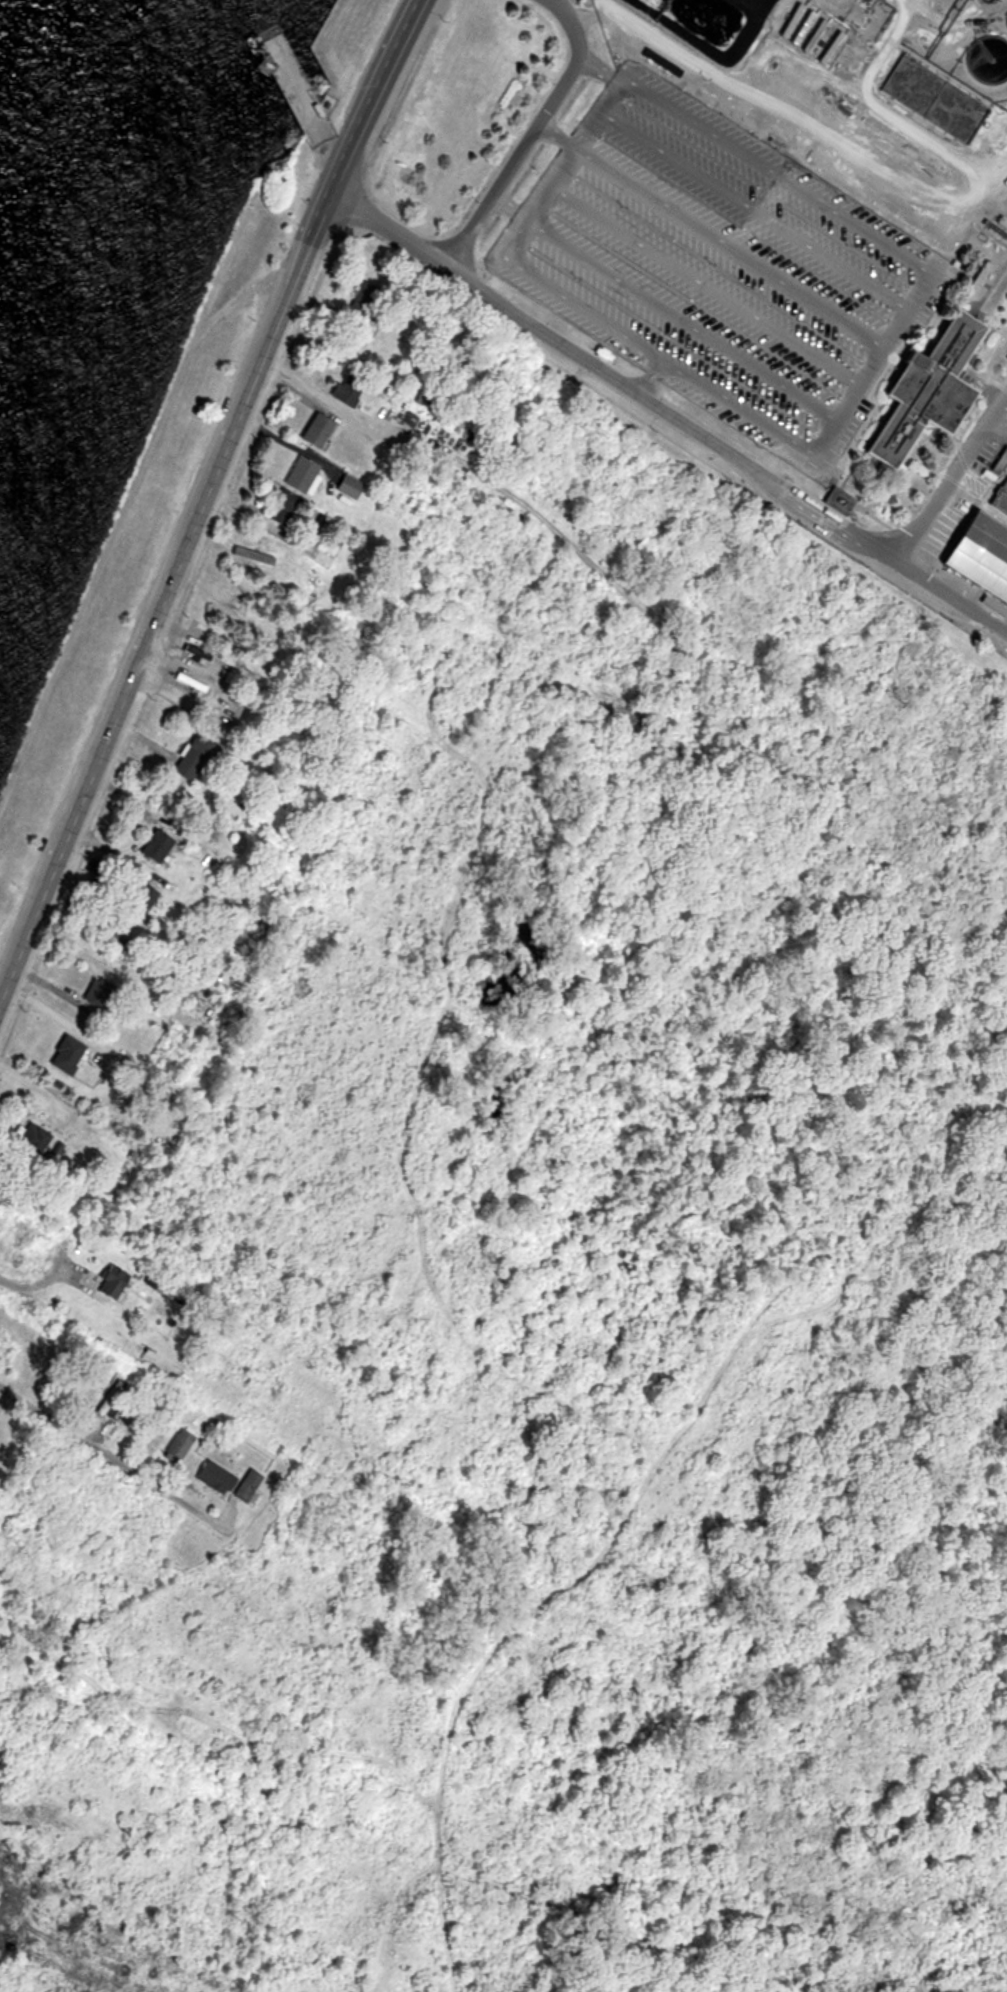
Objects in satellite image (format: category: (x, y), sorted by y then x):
road: (381, 98)
road: (530, 132)
road: (326, 206)
road: (390, 231)
parking lot: (719, 266)
building: (921, 390)
road: (641, 393)
road: (949, 471)
road: (862, 539)
road: (159, 609)

